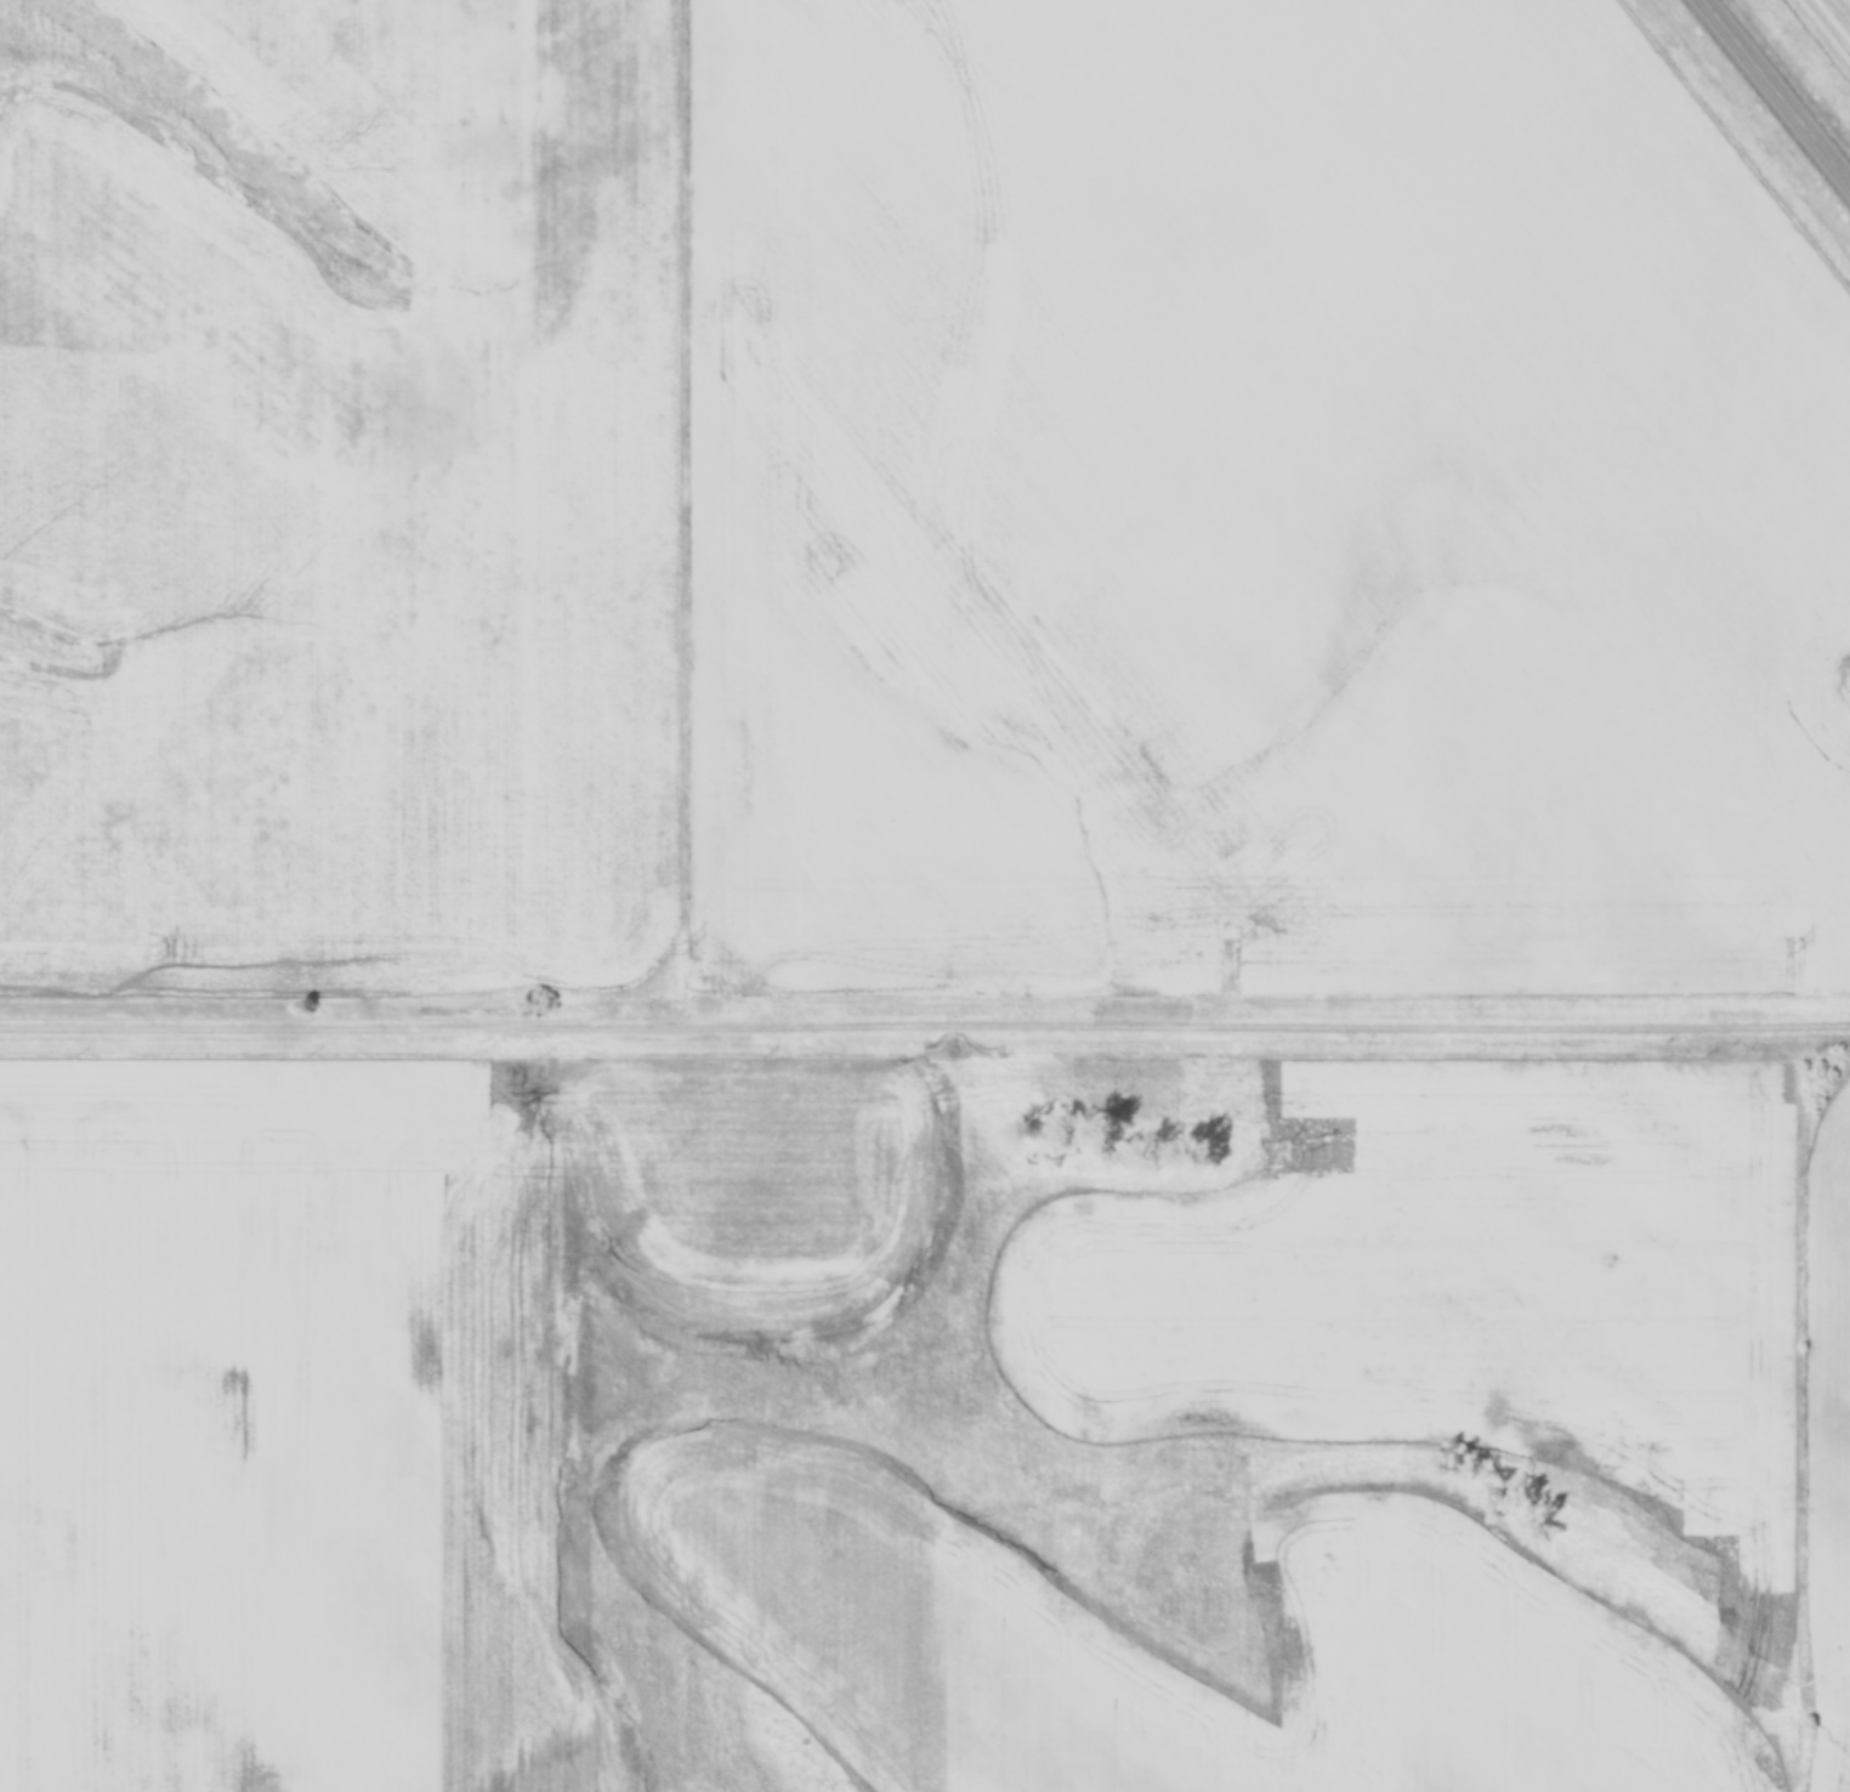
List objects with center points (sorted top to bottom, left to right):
road: (1777, 90)
power tower: (1797, 947)
power tower: (680, 949)
power tower: (1233, 949)
power tower: (160, 951)
road: (925, 1030)

